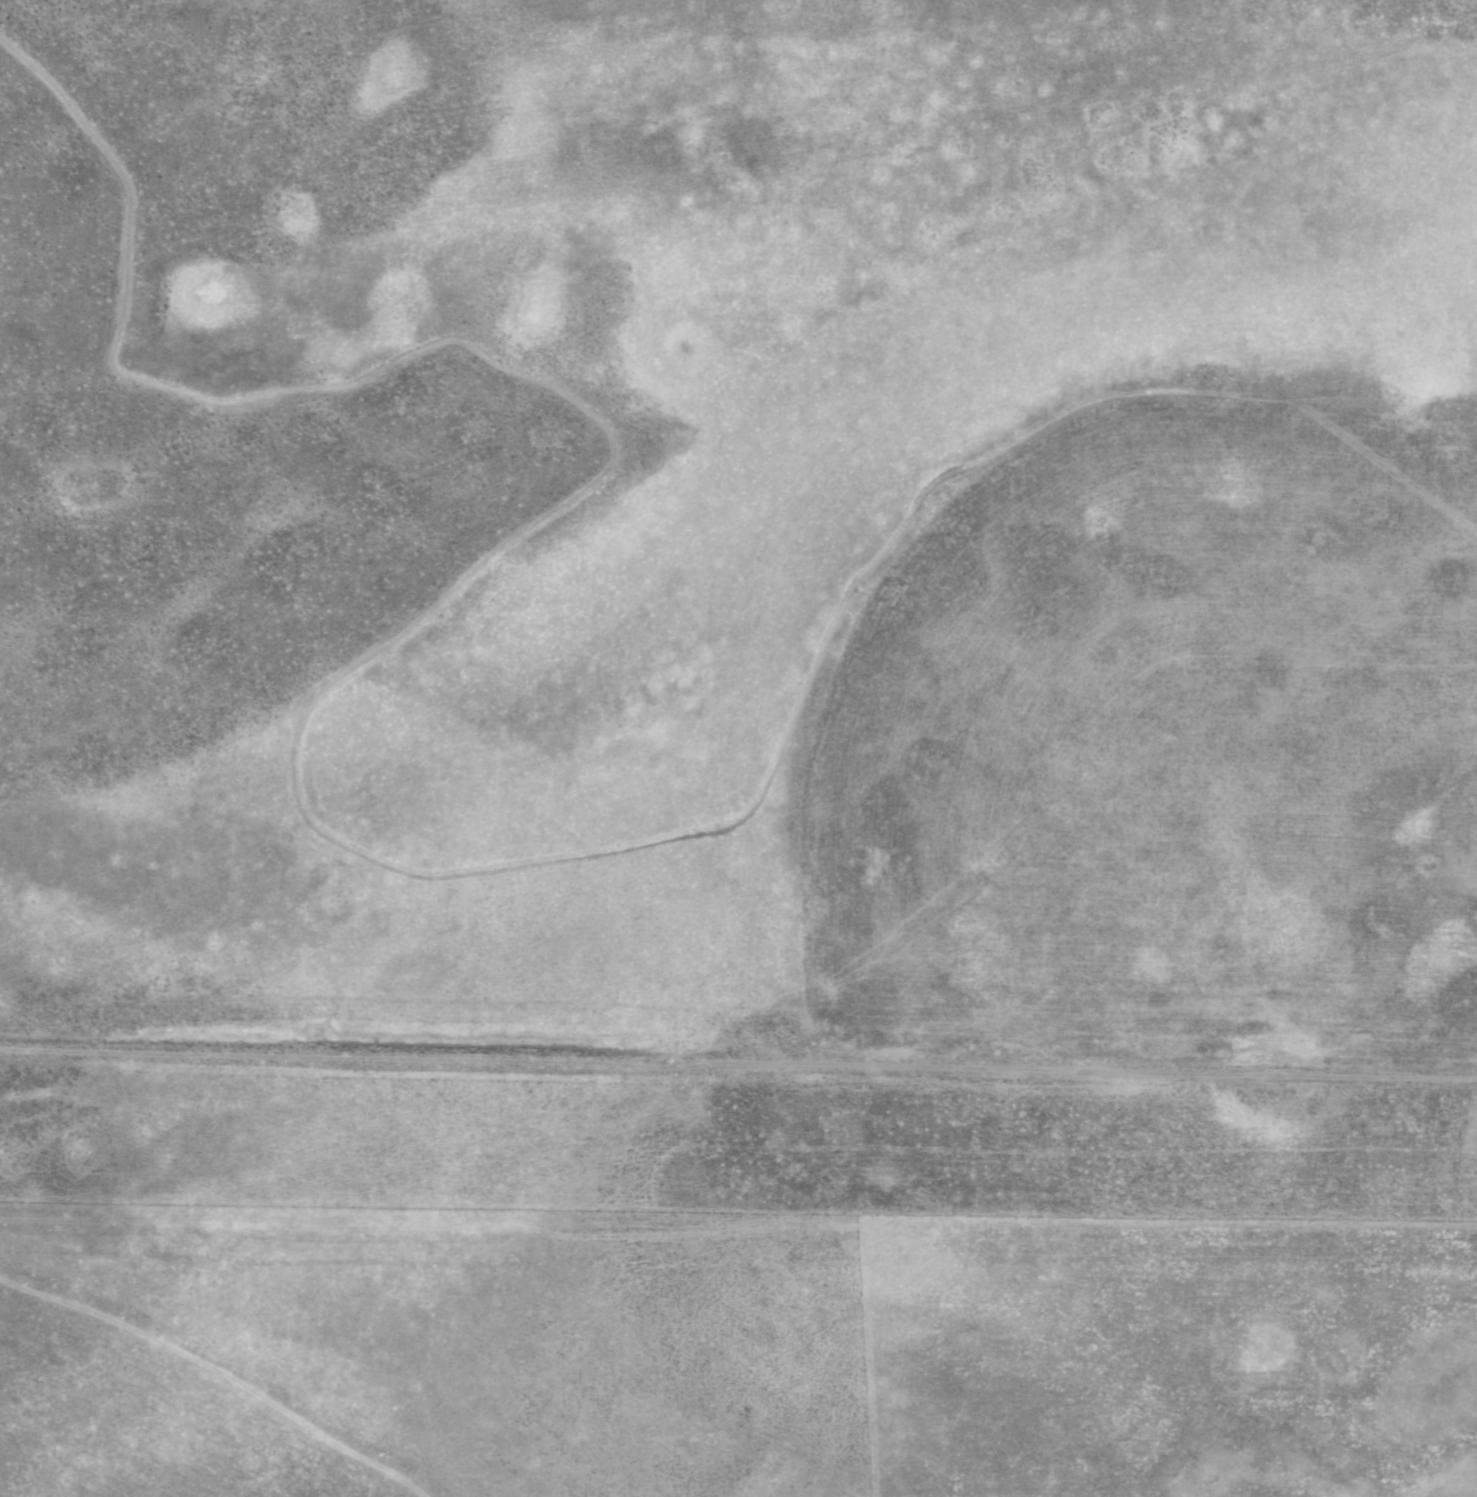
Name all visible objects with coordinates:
road: (738, 1116)

